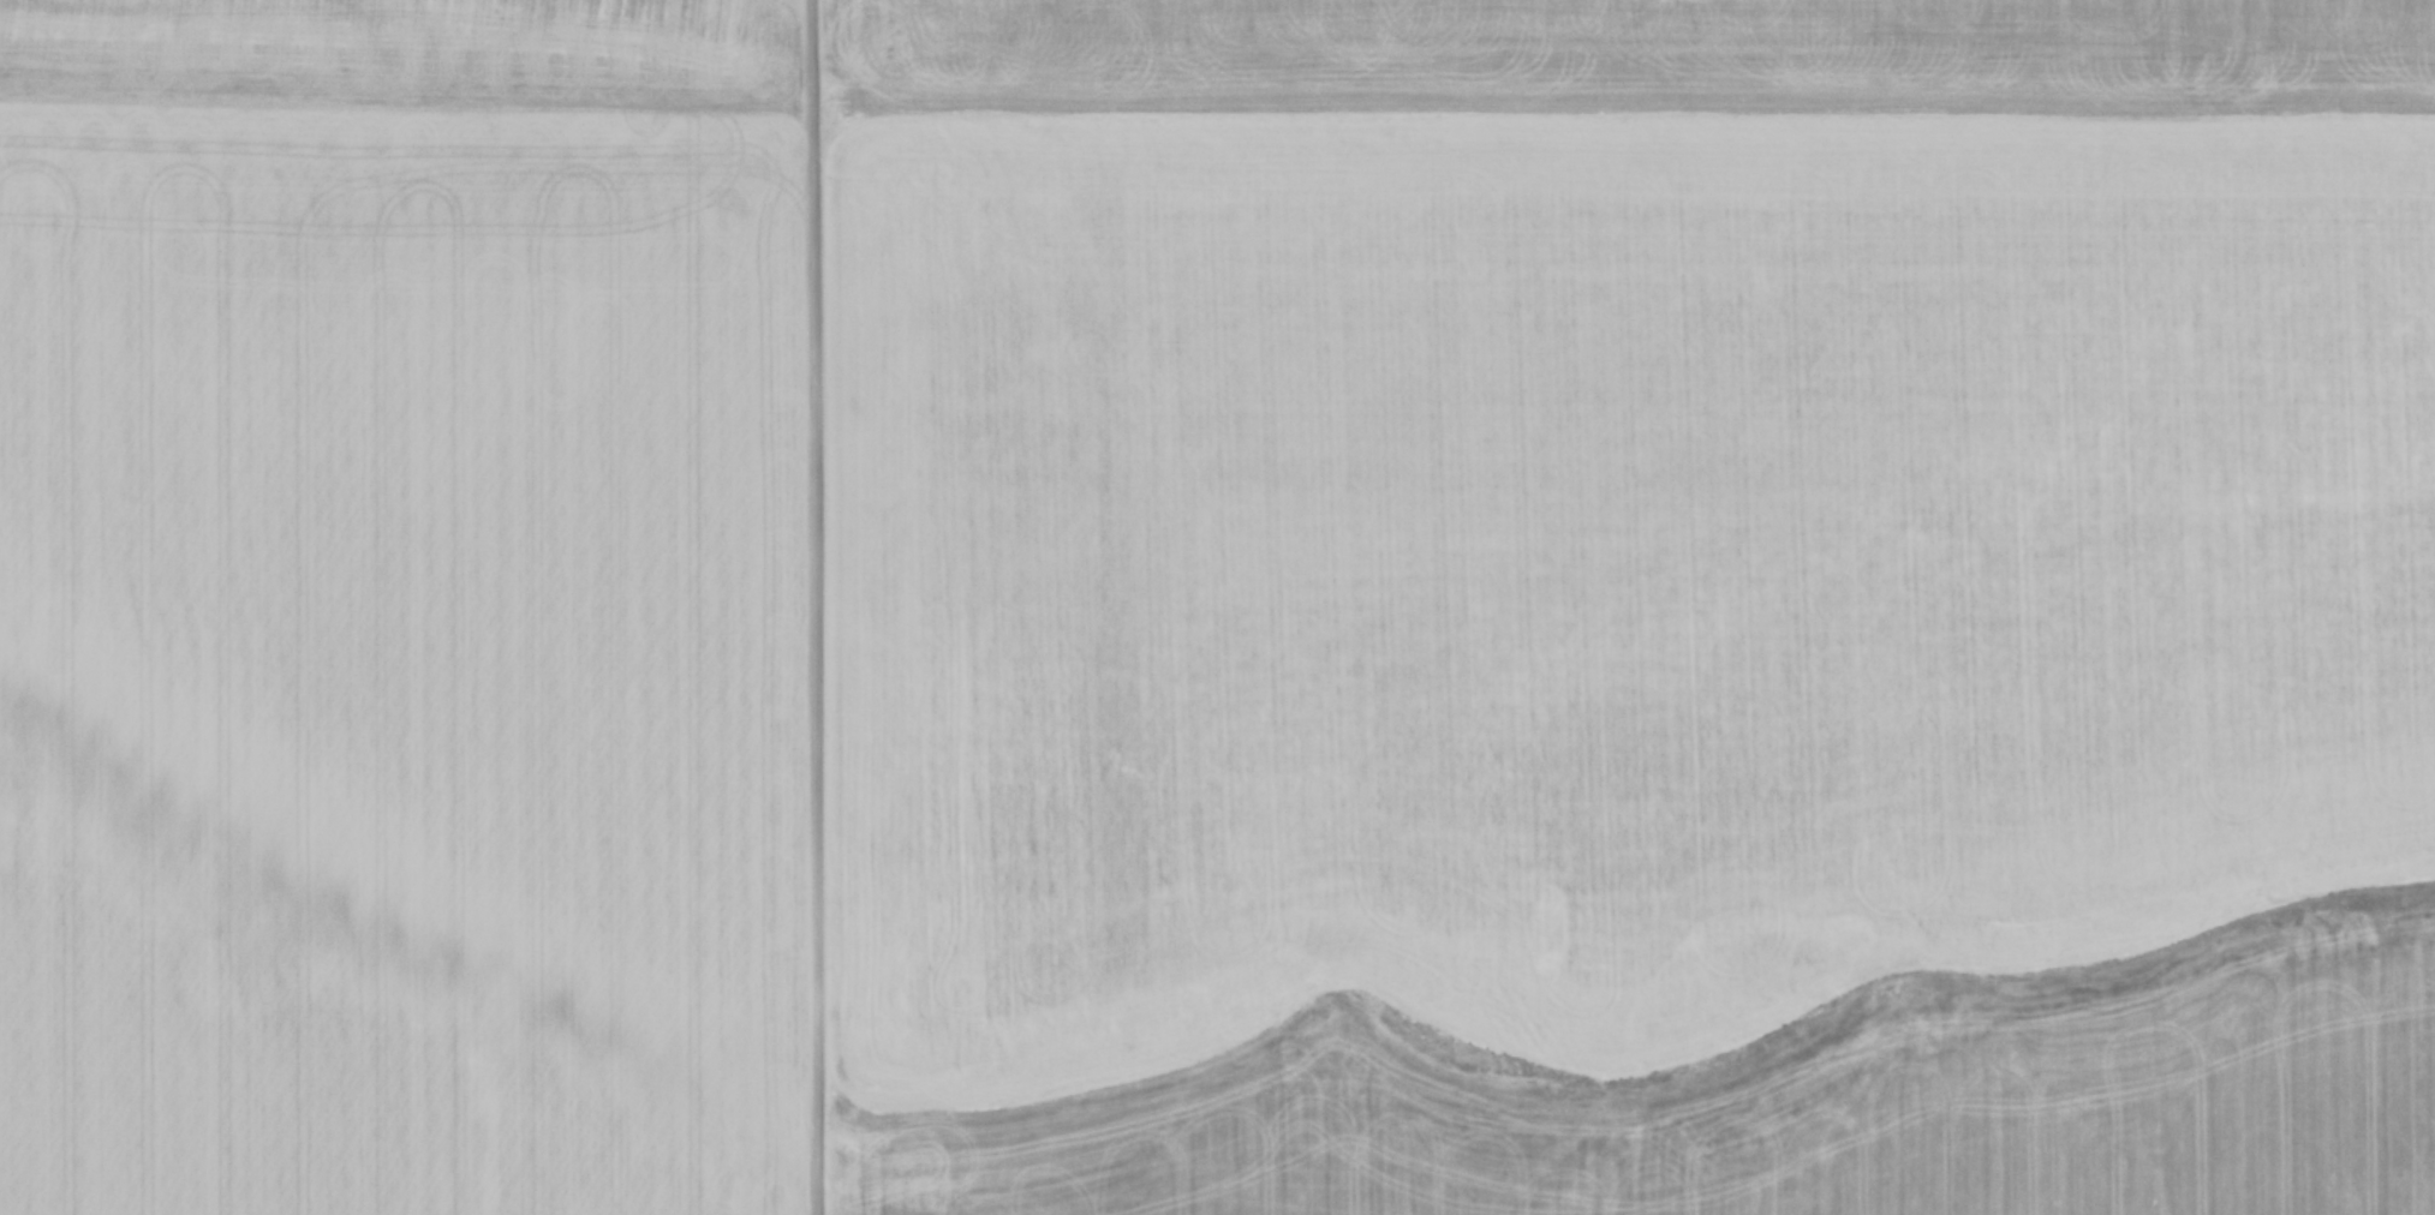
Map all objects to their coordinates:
road: (811, 606)

